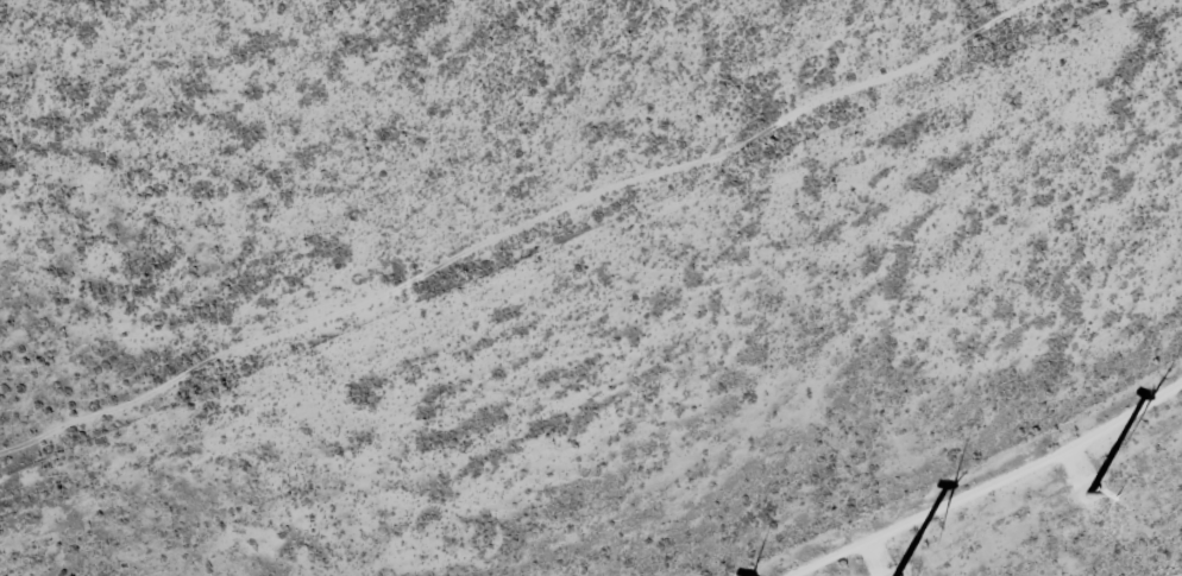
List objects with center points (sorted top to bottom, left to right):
wind turbine: (1081, 505)
wind turbine: (882, 575)

